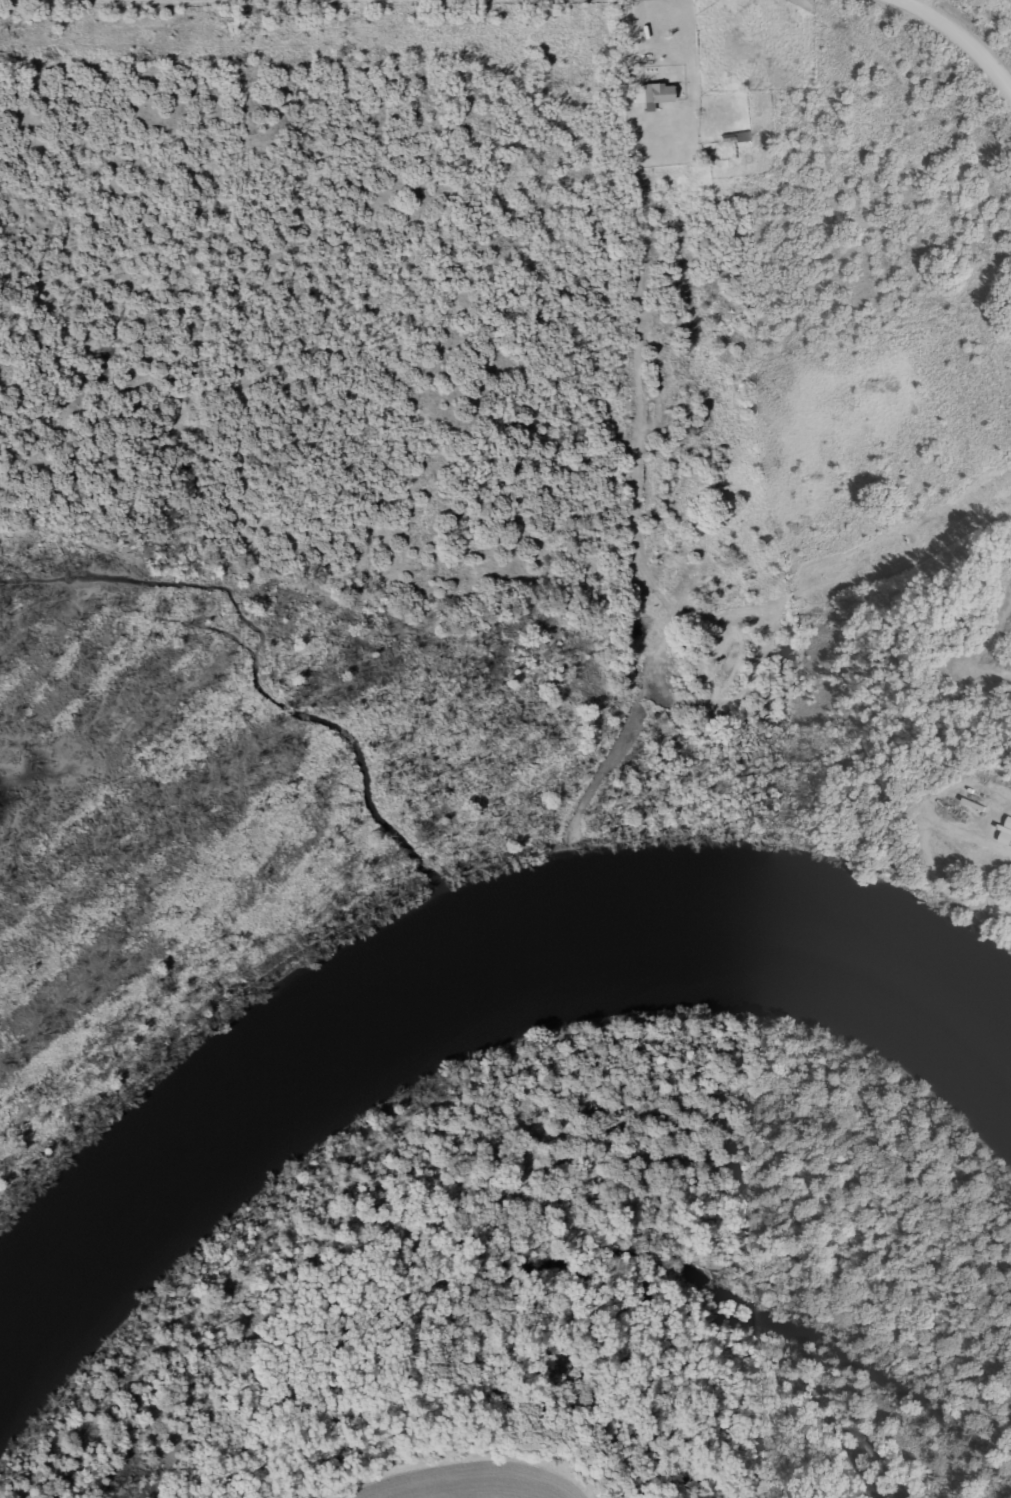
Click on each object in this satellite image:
road: (929, 7)
road: (963, 36)
building: (650, 94)
building: (734, 137)
river: (455, 964)

